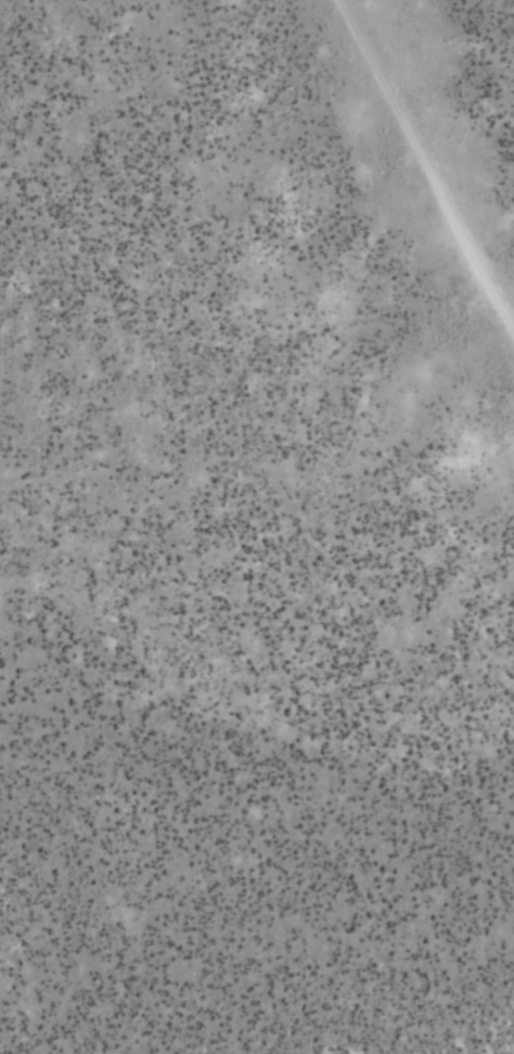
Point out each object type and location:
road: (433, 143)

